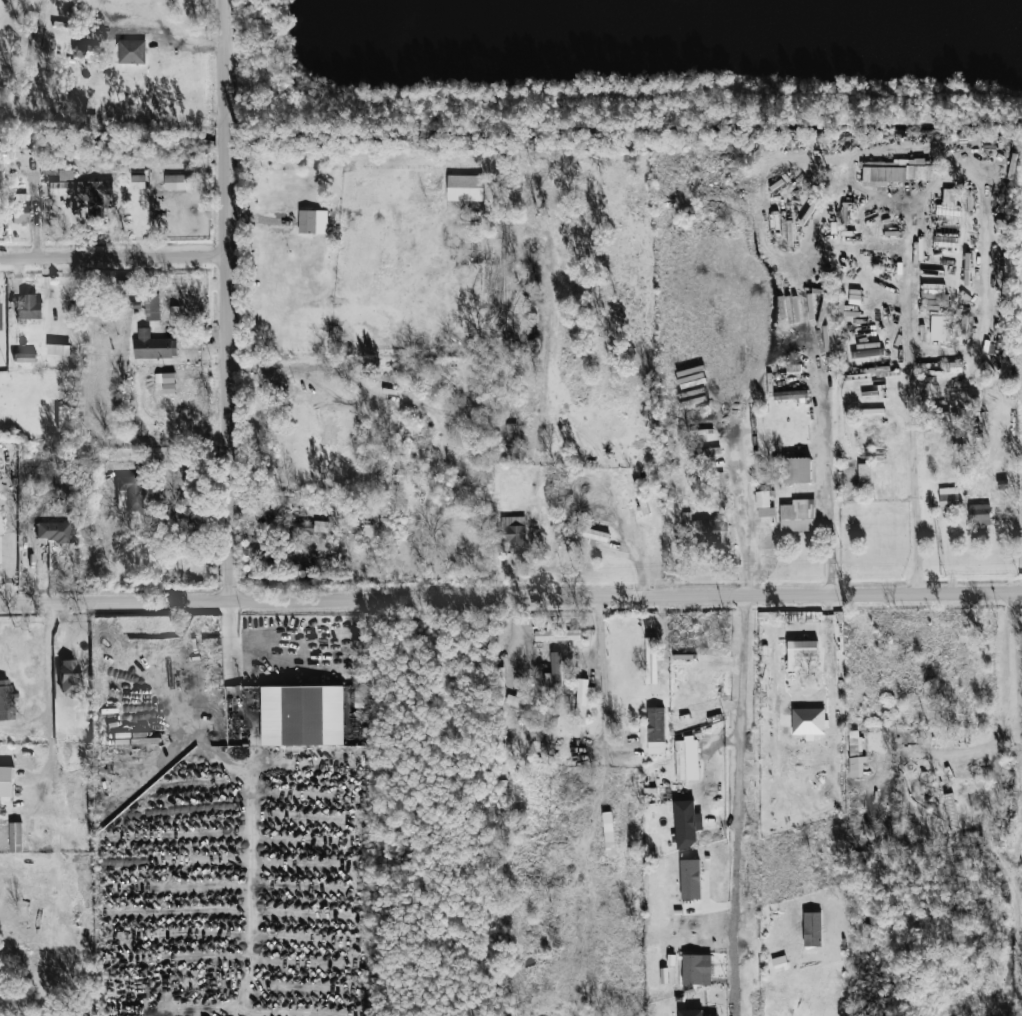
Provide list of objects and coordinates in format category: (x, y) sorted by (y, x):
building: (131, 52)
building: (894, 172)
building: (138, 182)
building: (178, 182)
building: (948, 202)
building: (20, 208)
building: (312, 222)
road: (114, 256)
road: (228, 299)
building: (29, 306)
building: (152, 307)
building: (174, 315)
building: (941, 329)
building: (153, 346)
building: (58, 350)
building: (24, 358)
building: (954, 367)
building: (164, 378)
building: (790, 395)
road: (910, 395)
road: (821, 417)
building: (797, 471)
building: (132, 491)
building: (948, 497)
building: (764, 511)
building: (978, 514)
building: (798, 516)
building: (512, 529)
building: (709, 530)
building: (53, 531)
building: (299, 536)
building: (142, 547)
road: (511, 596)
building: (557, 635)
road: (288, 647)
road: (1010, 653)
building: (802, 656)
building: (651, 667)
building: (554, 670)
road: (602, 671)
road: (747, 671)
building: (69, 676)
road: (47, 698)
building: (583, 700)
building: (7, 701)
building: (525, 704)
building: (302, 715)
building: (653, 731)
building: (533, 733)
road: (965, 752)
building: (686, 760)
building: (6, 781)
road: (252, 805)
building: (686, 824)
building: (608, 832)
building: (690, 879)
building: (779, 964)
building: (696, 969)
building: (690, 1012)

